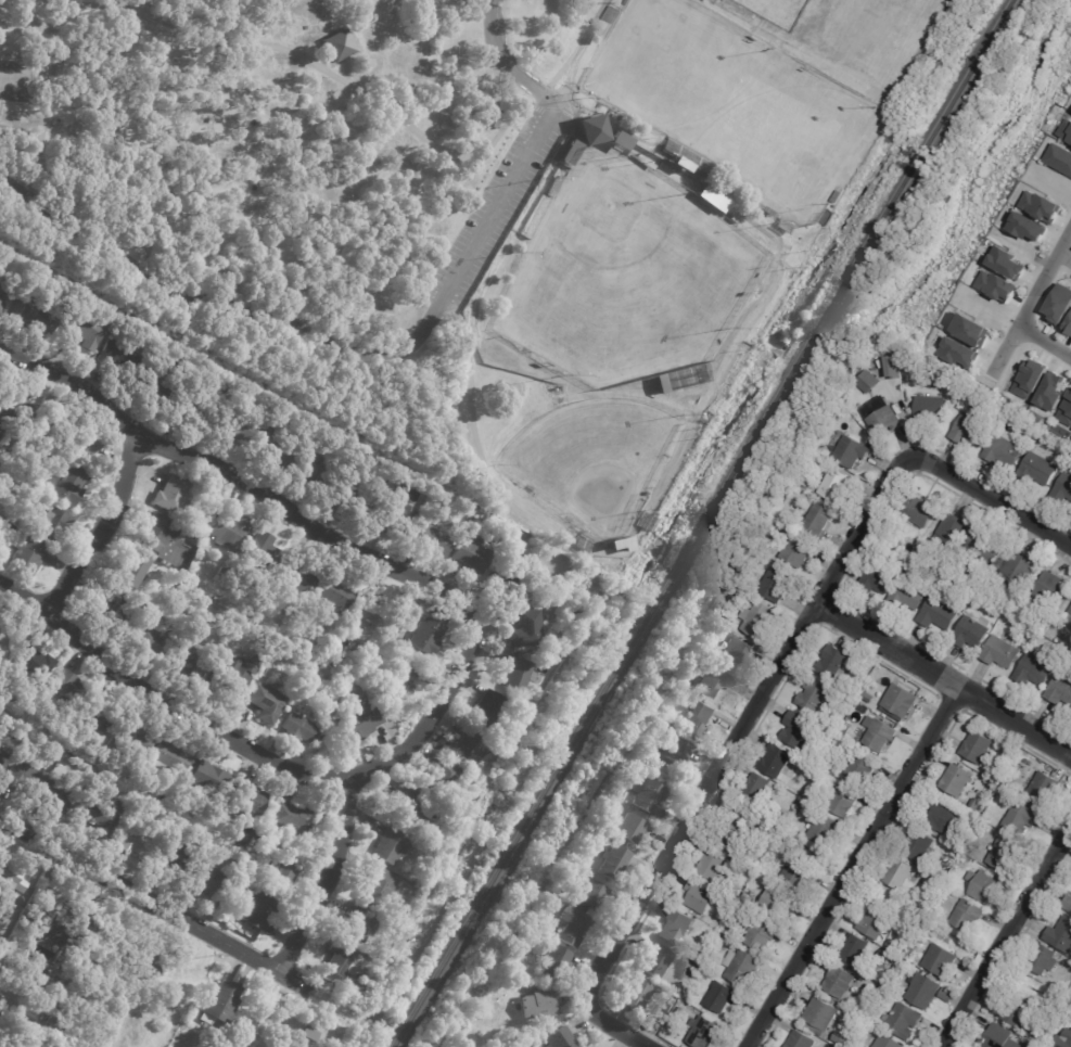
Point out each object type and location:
building: (703, 0)
building: (626, 2)
road: (76, 3)
park: (776, 11)
building: (611, 14)
building: (339, 44)
road: (577, 48)
road: (323, 61)
park: (674, 62)
building: (528, 66)
road: (322, 69)
park: (14, 81)
road: (44, 90)
road: (91, 100)
road: (526, 104)
building: (496, 115)
road: (508, 123)
building: (592, 129)
building: (1066, 131)
road: (521, 132)
building: (621, 140)
park: (793, 142)
building: (572, 154)
road: (668, 156)
building: (688, 157)
building: (1058, 159)
building: (645, 162)
building: (557, 184)
building: (838, 196)
building: (713, 197)
parking lot: (499, 201)
building: (1038, 206)
building: (769, 210)
building: (829, 218)
park: (452, 221)
building: (736, 221)
building: (786, 226)
building: (1027, 227)
building: (1007, 264)
road: (31, 272)
park: (626, 273)
building: (995, 286)
building: (3, 299)
road: (1030, 304)
building: (1058, 304)
building: (38, 316)
building: (1068, 327)
building: (88, 329)
building: (969, 330)
road: (1044, 343)
building: (958, 353)
building: (120, 355)
road: (393, 356)
building: (894, 367)
building: (681, 378)
building: (1029, 380)
building: (867, 383)
building: (161, 386)
building: (961, 390)
building: (1050, 391)
building: (931, 406)
building: (1066, 409)
building: (196, 412)
building: (4, 413)
building: (280, 413)
building: (843, 414)
building: (878, 420)
building: (39, 422)
building: (238, 426)
building: (965, 429)
road: (474, 432)
building: (10, 444)
building: (85, 447)
building: (281, 450)
building: (845, 450)
building: (1004, 450)
building: (4, 456)
park: (591, 458)
building: (314, 468)
building: (1037, 470)
road: (244, 480)
building: (828, 482)
building: (804, 483)
building: (71, 484)
building: (1062, 488)
building: (171, 496)
road: (991, 498)
building: (354, 499)
building: (469, 505)
building: (919, 509)
building: (477, 513)
building: (396, 516)
building: (818, 520)
railway: (702, 523)
building: (52, 524)
building: (10, 527)
road: (105, 529)
building: (229, 531)
building: (157, 533)
building: (952, 534)
building: (438, 537)
building: (196, 538)
building: (480, 539)
building: (621, 545)
building: (985, 547)
building: (508, 548)
building: (206, 551)
building: (796, 552)
building: (25, 554)
building: (472, 554)
building: (260, 557)
building: (225, 558)
building: (1020, 569)
building: (137, 571)
building: (222, 573)
building: (1000, 574)
building: (179, 575)
building: (881, 577)
building: (302, 578)
building: (594, 579)
building: (511, 583)
building: (775, 585)
building: (1049, 591)
building: (336, 595)
building: (908, 596)
building: (111, 608)
building: (148, 608)
building: (289, 612)
building: (373, 612)
building: (1070, 612)
building: (940, 614)
building: (757, 618)
building: (1069, 620)
building: (0, 624)
building: (527, 629)
building: (973, 633)
building: (428, 636)
building: (394, 640)
building: (154, 641)
building: (737, 651)
building: (1003, 653)
building: (191, 656)
building: (1, 659)
building: (831, 661)
building: (34, 663)
building: (316, 665)
building: (237, 668)
building: (551, 668)
building: (1035, 671)
building: (518, 675)
road: (942, 678)
building: (401, 679)
building: (712, 679)
building: (66, 687)
building: (1060, 690)
building: (814, 693)
road: (166, 698)
building: (898, 700)
building: (263, 701)
building: (488, 708)
building: (101, 718)
building: (699, 718)
building: (361, 720)
building: (295, 726)
building: (666, 728)
building: (798, 729)
building: (879, 732)
building: (510, 735)
building: (136, 737)
building: (470, 746)
building: (977, 746)
building: (498, 750)
building: (677, 751)
building: (170, 757)
road: (722, 758)
building: (143, 759)
building: (775, 761)
building: (3, 762)
building: (860, 767)
building: (24, 774)
building: (209, 779)
building: (445, 779)
building: (957, 779)
road: (346, 781)
building: (1009, 782)
building: (481, 783)
building: (755, 788)
building: (1043, 788)
building: (1004, 791)
building: (624, 794)
building: (649, 795)
building: (62, 797)
building: (247, 800)
building: (843, 801)
building: (801, 803)
building: (977, 803)
building: (416, 809)
building: (270, 813)
building: (941, 815)
building: (103, 817)
building: (295, 817)
building: (1021, 818)
building: (964, 821)
building: (823, 827)
building: (632, 828)
building: (730, 834)
building: (241, 838)
building: (136, 842)
building: (917, 845)
building: (390, 846)
building: (441, 846)
building: (1003, 854)
building: (175, 863)
building: (613, 863)
building: (958, 864)
building: (715, 865)
road: (849, 865)
building: (285, 870)
building: (898, 872)
building: (798, 873)
building: (10, 878)
building: (933, 879)
building: (208, 881)
building: (984, 885)
building: (379, 890)
building: (592, 894)
building: (700, 896)
building: (748, 897)
building: (719, 898)
building: (777, 902)
building: (1068, 903)
road: (155, 904)
building: (259, 911)
building: (936, 912)
building: (967, 915)
building: (876, 922)
building: (357, 924)
building: (573, 925)
building: (675, 928)
building: (61, 929)
building: (910, 929)
building: (760, 932)
building: (728, 933)
building: (1061, 934)
road: (1007, 936)
building: (730, 942)
building: (893, 945)
building: (854, 949)
building: (138, 955)
building: (883, 956)
building: (553, 959)
building: (941, 959)
building: (1044, 959)
building: (655, 960)
building: (341, 962)
building: (741, 967)
building: (362, 974)
building: (839, 981)
building: (926, 991)
building: (902, 992)
building: (637, 993)
building: (360, 995)
building: (670, 996)
building: (0, 997)
building: (722, 997)
building: (543, 1003)
building: (221, 1004)
building: (1017, 1010)
building: (820, 1013)
building: (902, 1019)
building: (1059, 1019)
building: (54, 1025)
building: (703, 1032)
building: (309, 1035)
building: (840, 1037)
building: (1002, 1037)
building: (560, 1038)
building: (1063, 1039)
building: (472, 1040)
building: (800, 1040)
building: (888, 1042)

